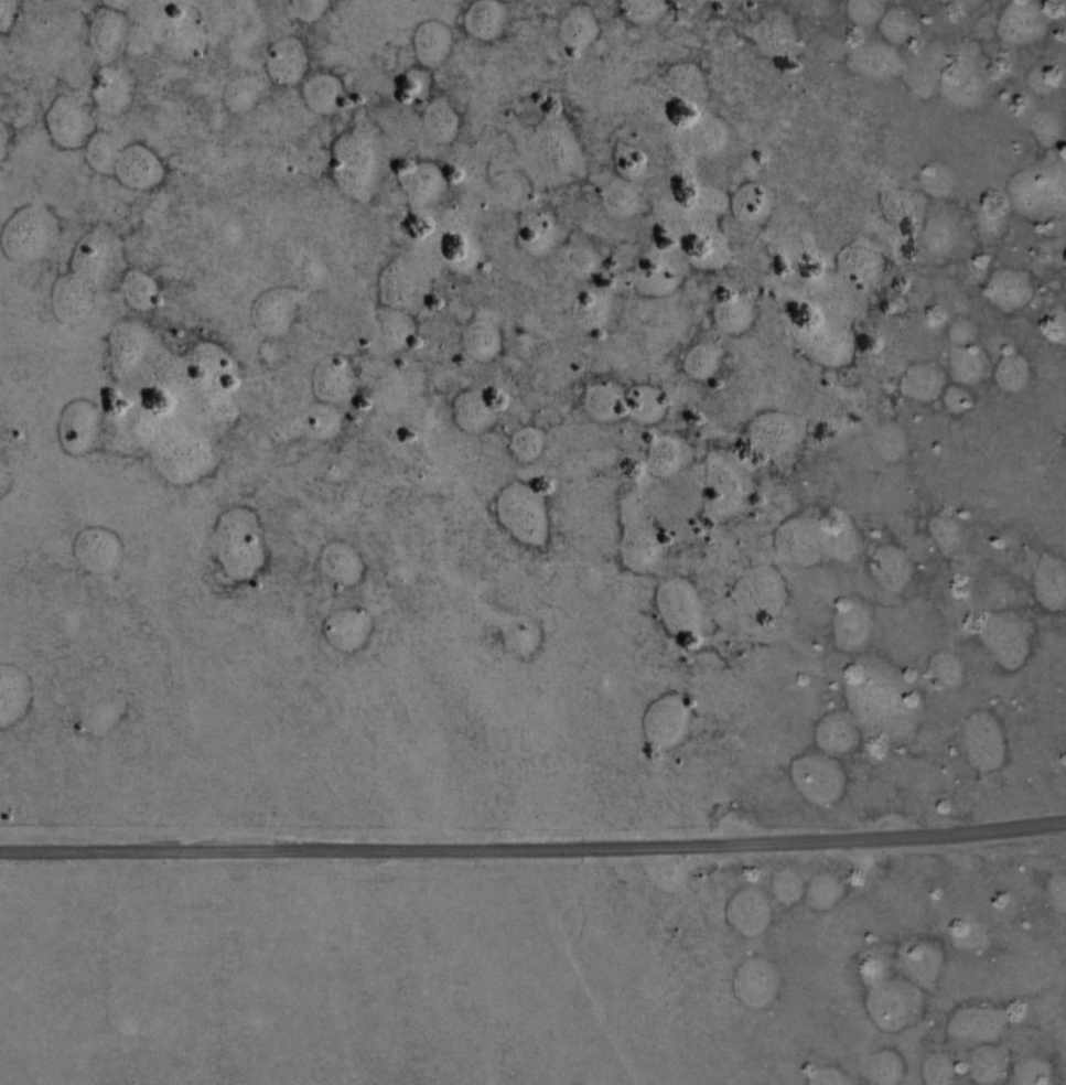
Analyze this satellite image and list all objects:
road: (532, 849)

